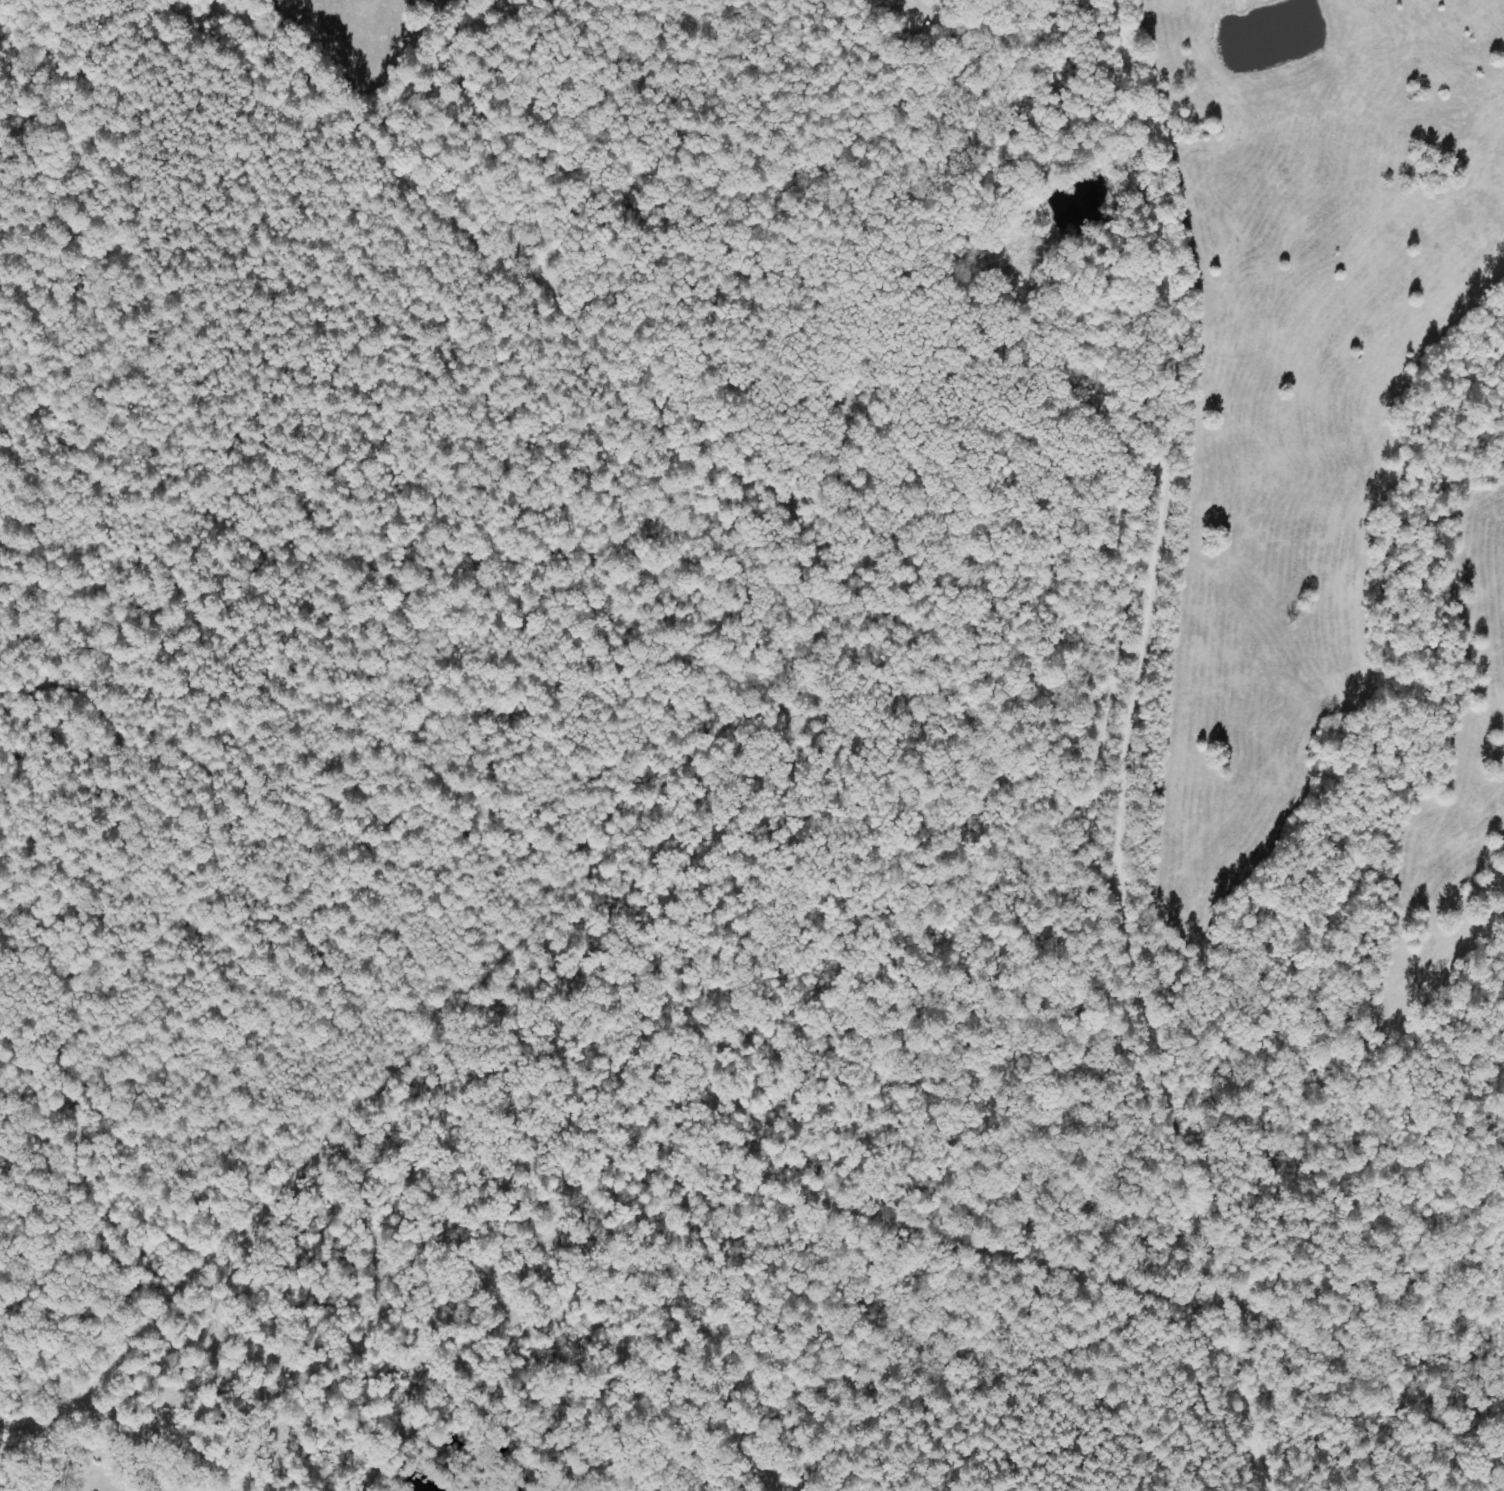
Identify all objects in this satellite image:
road: (885, 79)
road: (1111, 753)

